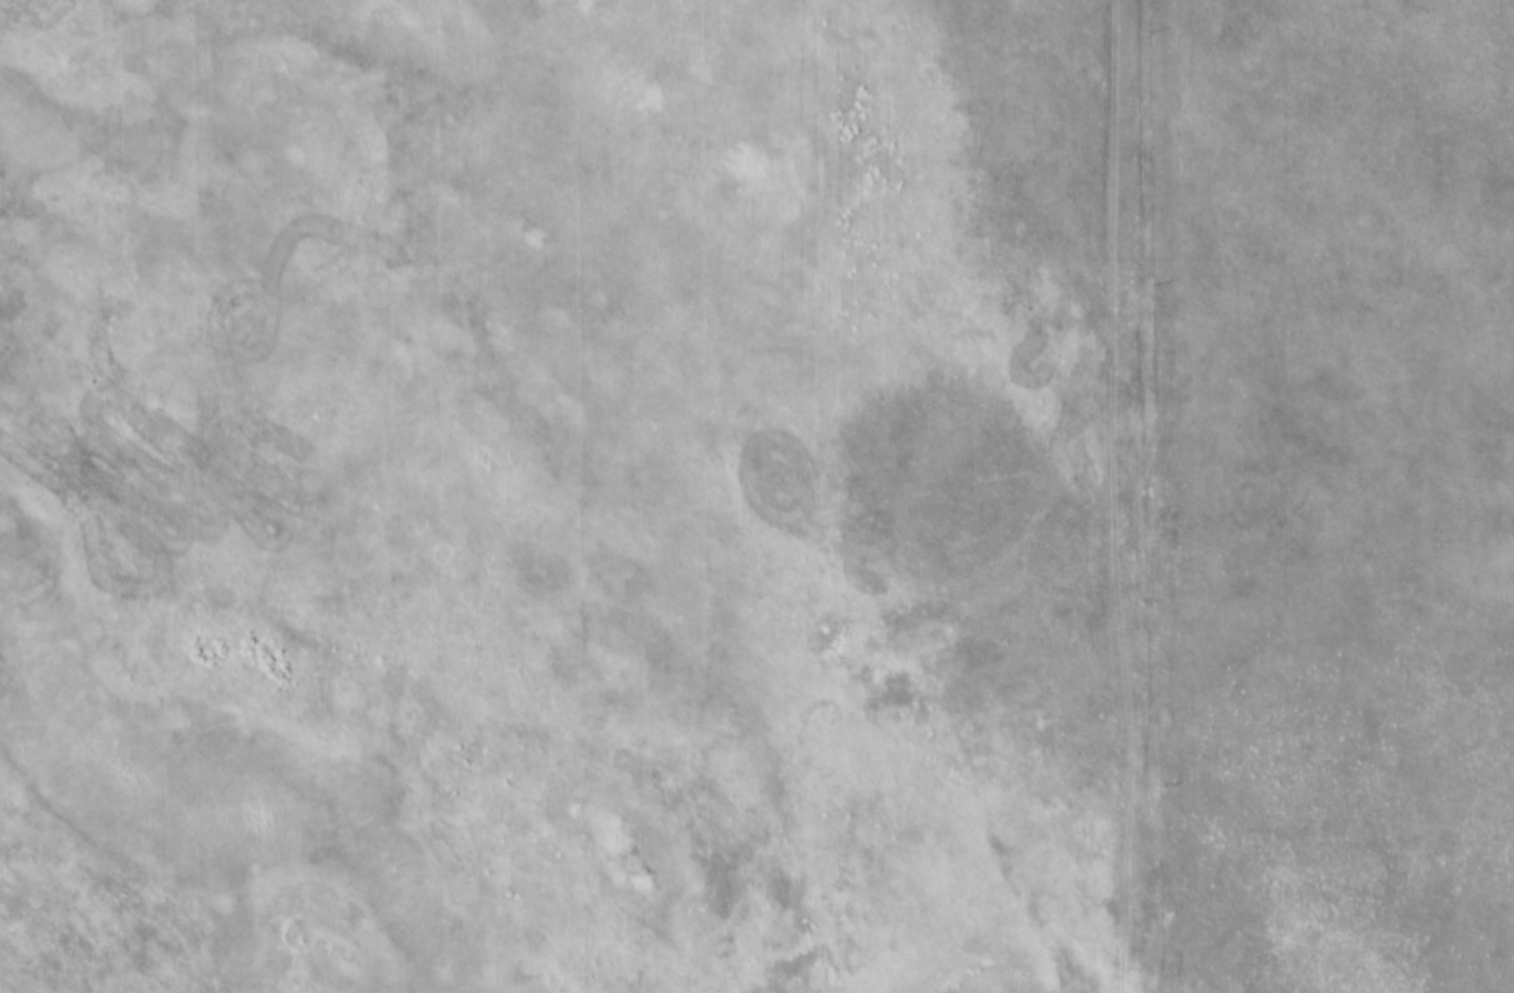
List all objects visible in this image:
road: (1112, 496)

